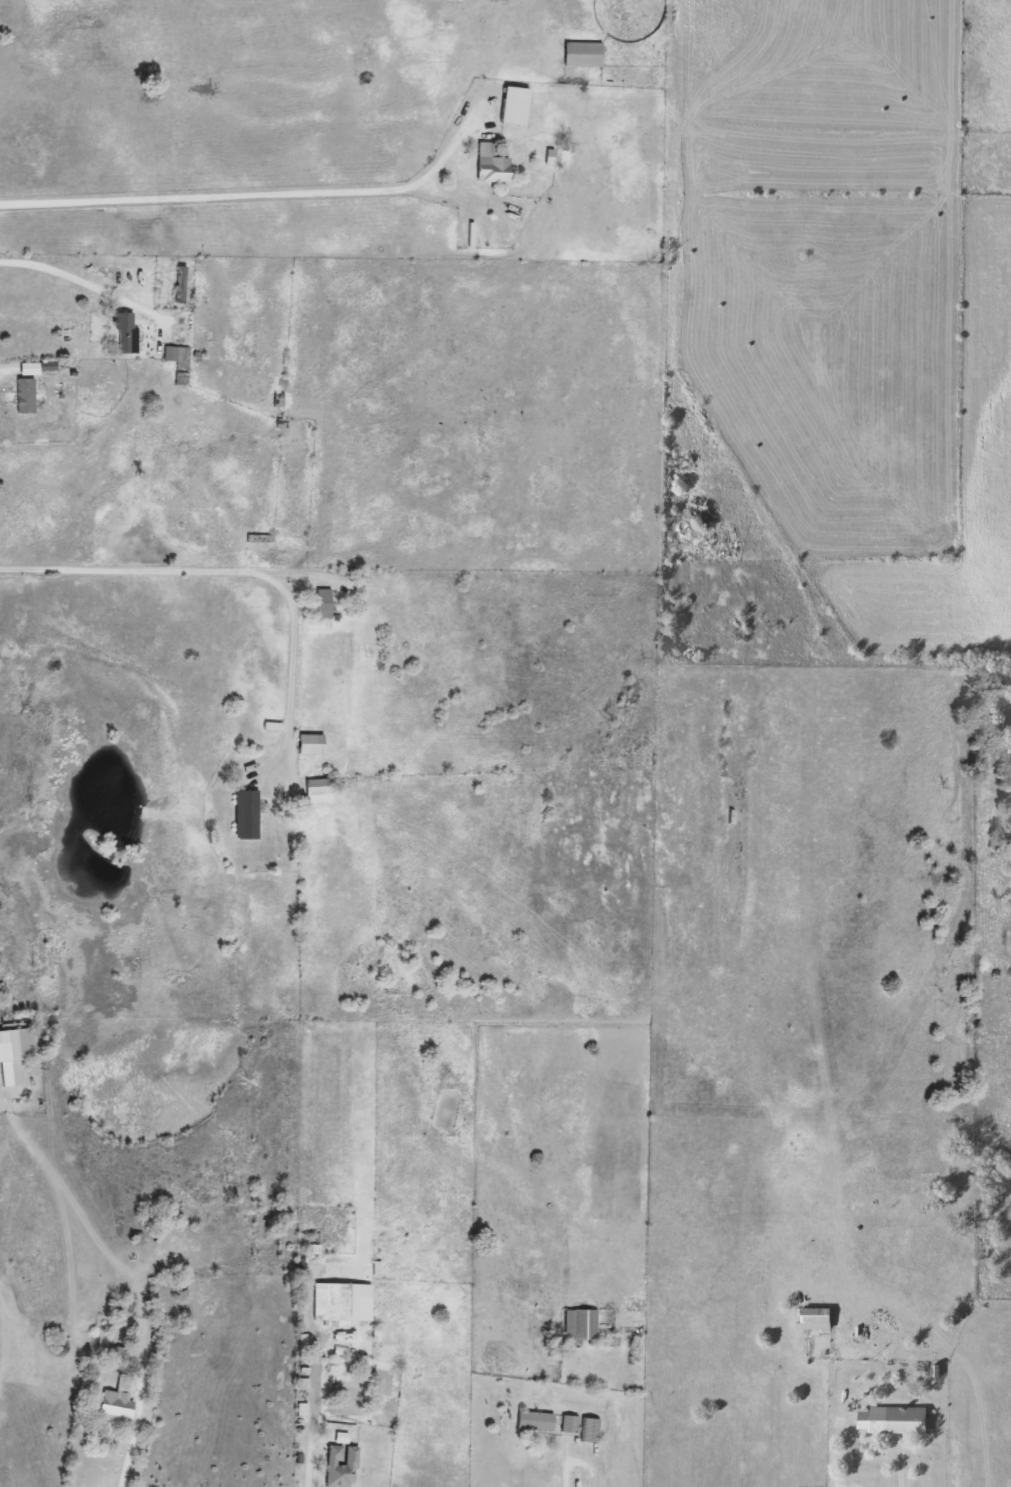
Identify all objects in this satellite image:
building: (585, 54)
building: (495, 170)
road: (217, 196)
road: (85, 279)
building: (182, 284)
building: (128, 333)
building: (180, 362)
building: (27, 395)
building: (279, 400)
building: (261, 538)
road: (243, 571)
building: (324, 603)
building: (312, 744)
building: (319, 790)
building: (248, 814)
building: (15, 1054)
building: (343, 1302)
building: (582, 1324)
building: (353, 1391)
building: (120, 1401)
building: (899, 1418)
building: (537, 1421)
building: (572, 1424)
building: (592, 1430)
road: (313, 1431)
road: (133, 1443)
road: (566, 1463)
building: (343, 1466)
road: (587, 1467)

